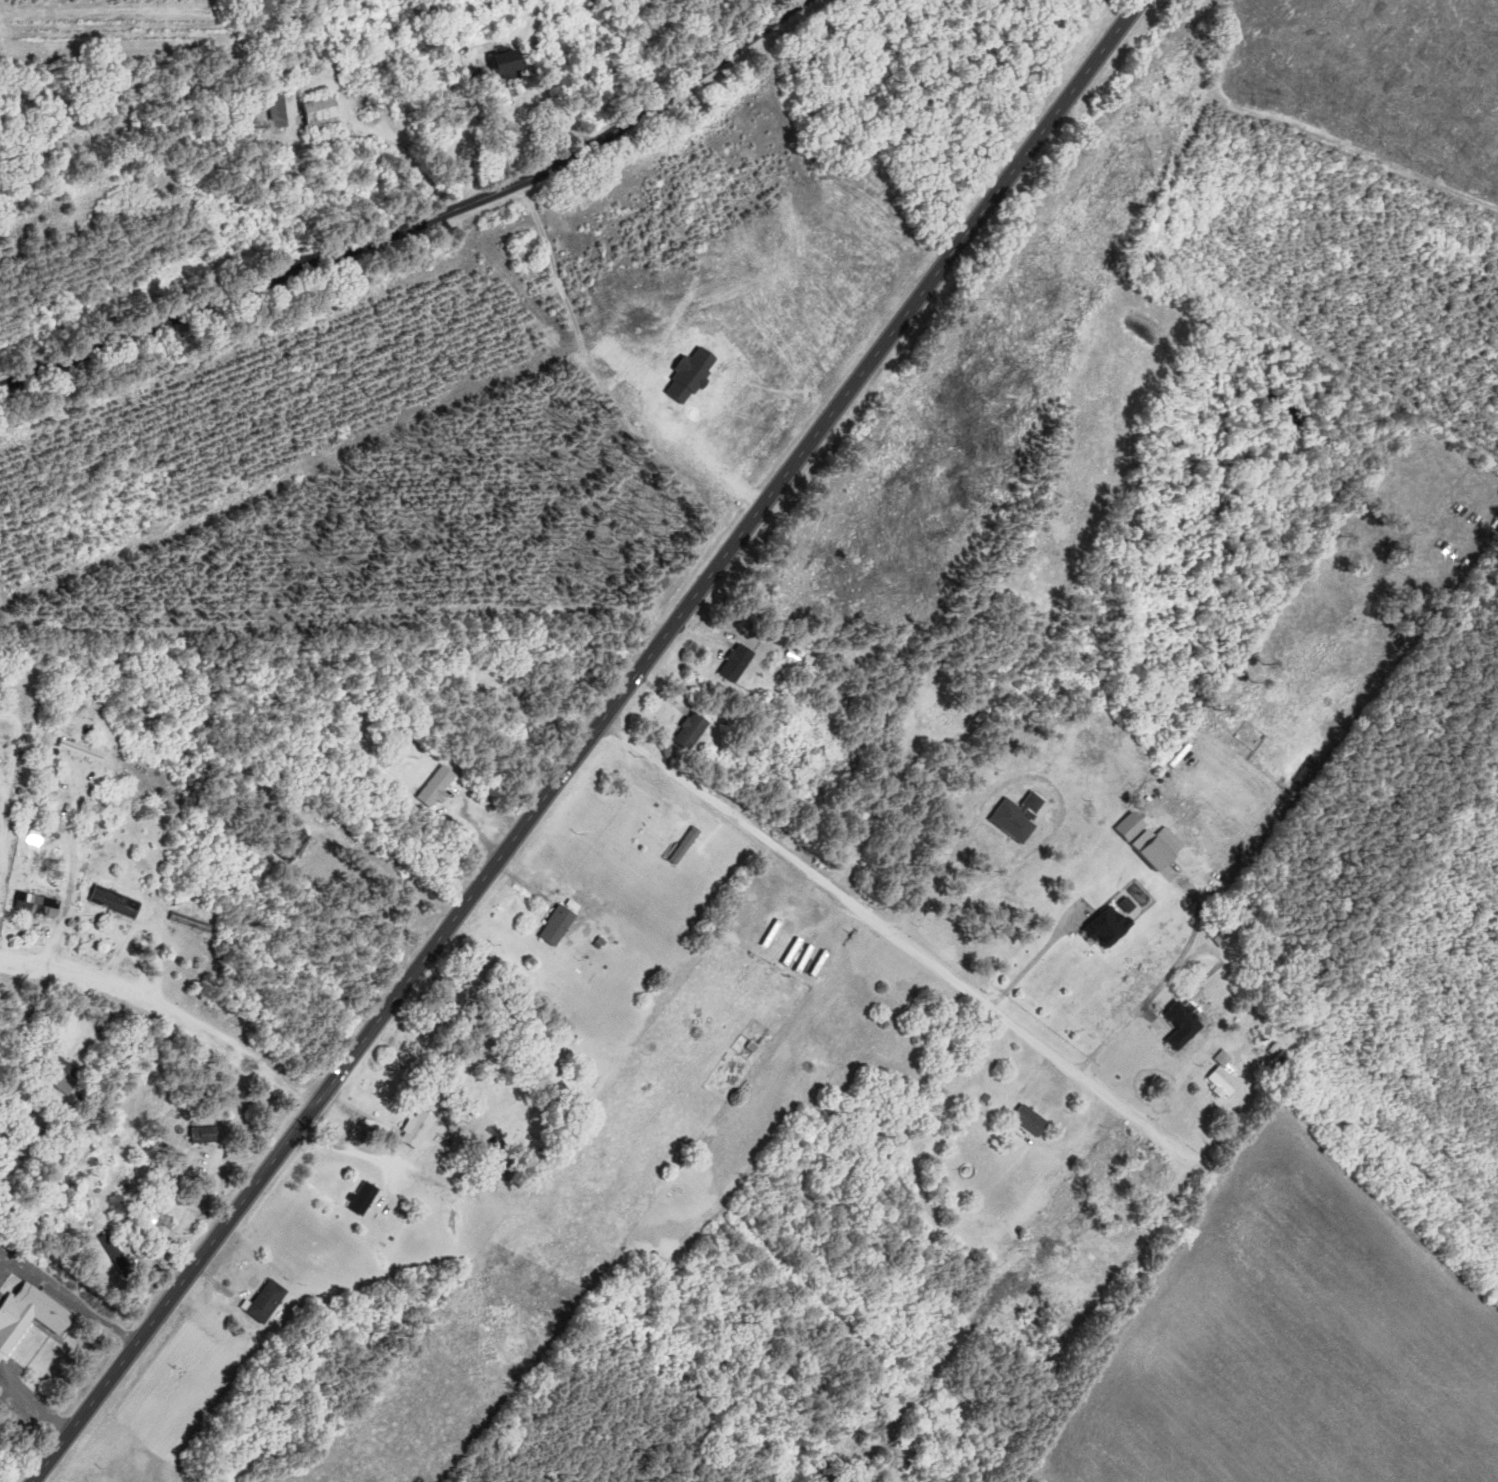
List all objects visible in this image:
building: (517, 64)
building: (282, 110)
building: (326, 115)
road: (416, 222)
road: (725, 553)
building: (741, 663)
building: (695, 732)
road: (20, 737)
building: (82, 751)
road: (5, 773)
building: (439, 787)
road: (10, 840)
building: (687, 846)
building: (1163, 852)
building: (121, 901)
building: (192, 922)
building: (561, 924)
building: (1116, 927)
road: (166, 1010)
road: (1003, 1018)
building: (1192, 1024)
building: (1231, 1077)
building: (64, 1078)
building: (1037, 1120)
building: (422, 1127)
building: (208, 1134)
building: (368, 1197)
road: (172, 1295)
building: (272, 1302)
building: (1043, 1308)
building: (31, 1319)

